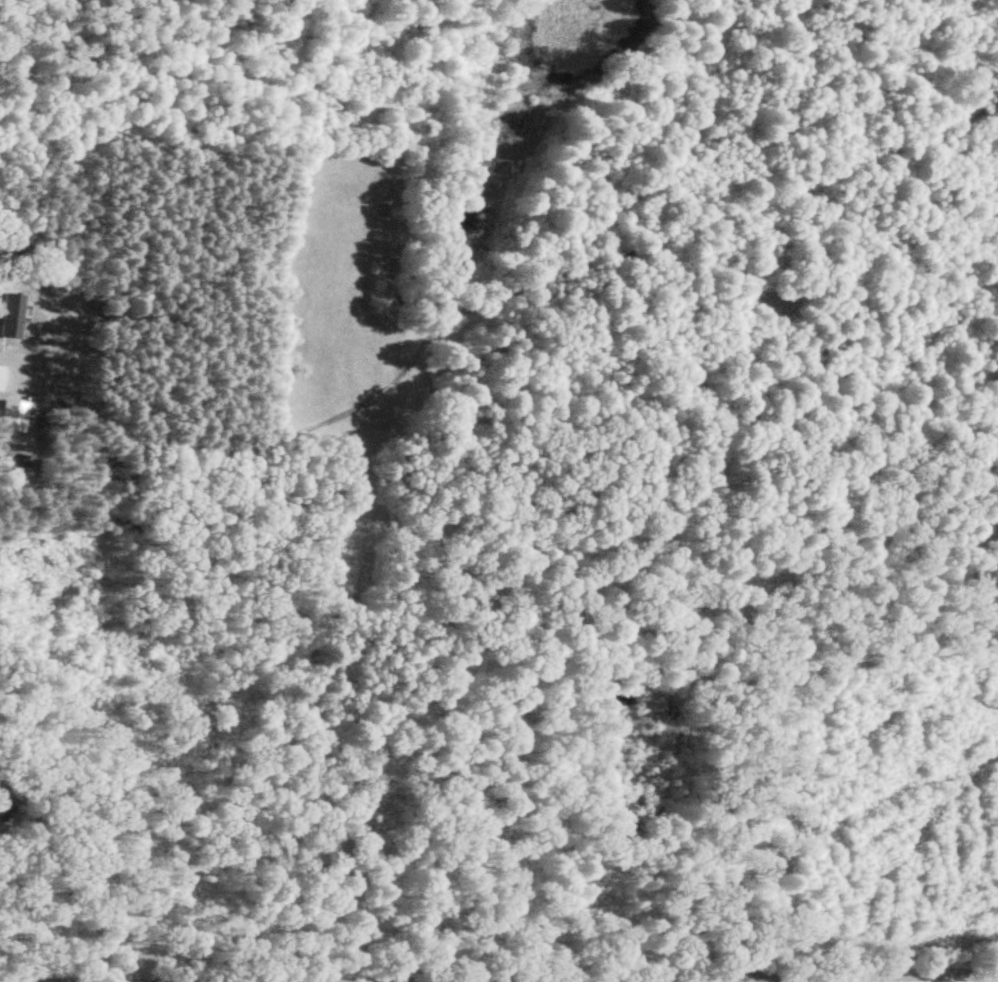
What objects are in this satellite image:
road: (498, 961)
road: (854, 965)

